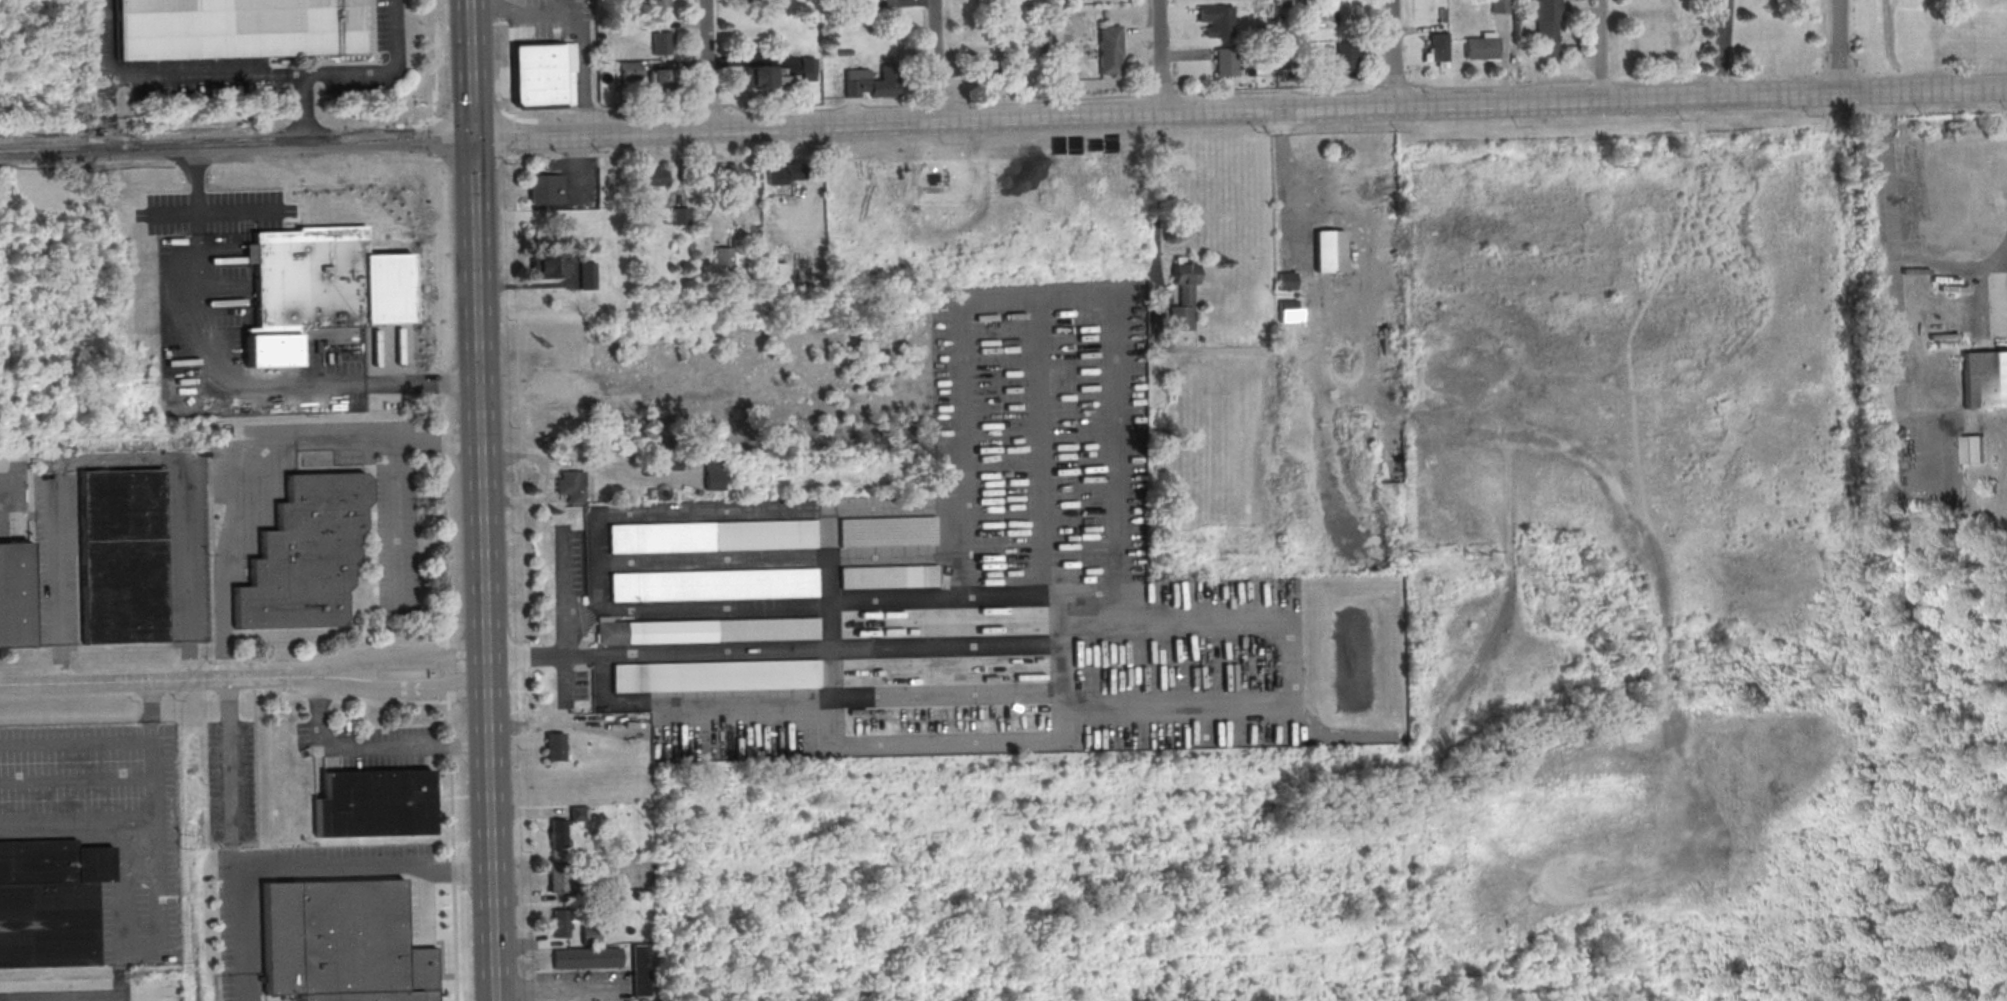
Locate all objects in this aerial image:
building: (1500, 6)
building: (657, 7)
building: (1323, 12)
road: (581, 14)
building: (1217, 20)
road: (480, 23)
building: (1546, 25)
building: (237, 28)
road: (103, 36)
building: (661, 42)
road: (1839, 46)
building: (1438, 47)
building: (1481, 48)
road: (1720, 48)
building: (1109, 49)
road: (1601, 50)
road: (1392, 54)
road: (1160, 58)
building: (1225, 61)
road: (934, 62)
building: (1334, 62)
road: (706, 66)
building: (990, 67)
building: (808, 68)
road: (432, 69)
road: (469, 69)
building: (630, 70)
road: (383, 71)
road: (203, 72)
building: (543, 74)
building: (760, 76)
building: (659, 79)
road: (1597, 80)
building: (871, 82)
road: (1395, 83)
road: (1500, 86)
road: (510, 90)
road: (1162, 91)
road: (1281, 91)
road: (937, 100)
road: (1050, 101)
road: (709, 106)
road: (303, 108)
road: (1357, 109)
road: (587, 110)
road: (822, 110)
road: (104, 111)
road: (647, 115)
road: (312, 121)
road: (589, 135)
traffic signals: (471, 138)
road: (235, 146)
building: (736, 174)
building: (787, 174)
building: (651, 177)
building: (545, 188)
road: (198, 190)
parking lot: (215, 209)
road: (215, 209)
building: (681, 215)
road: (1153, 228)
building: (1329, 250)
building: (724, 258)
building: (548, 265)
road: (1951, 266)
building: (775, 273)
building: (587, 275)
building: (1287, 281)
road: (528, 285)
building: (304, 289)
building: (1184, 293)
road: (1895, 295)
road: (994, 296)
building: (1289, 310)
road: (221, 374)
building: (1984, 378)
road: (421, 384)
road: (518, 388)
road: (477, 405)
road: (442, 422)
road: (442, 441)
road: (249, 448)
building: (1975, 449)
road: (520, 457)
road: (121, 461)
road: (593, 463)
building: (652, 468)
building: (713, 473)
road: (520, 479)
road: (10, 485)
building: (571, 485)
road: (521, 499)
road: (527, 500)
road: (396, 521)
building: (886, 531)
building: (711, 535)
road: (445, 548)
building: (304, 552)
building: (122, 556)
road: (523, 574)
building: (888, 575)
building: (713, 584)
building: (15, 595)
road: (559, 616)
building: (707, 629)
road: (889, 645)
road: (340, 653)
road: (526, 655)
road: (401, 657)
road: (213, 660)
road: (224, 660)
road: (250, 663)
road: (448, 672)
building: (715, 675)
road: (252, 676)
road: (159, 680)
road: (402, 687)
road: (526, 690)
road: (280, 695)
road: (320, 695)
road: (391, 702)
road: (1181, 709)
road: (449, 718)
road: (541, 726)
road: (450, 746)
building: (554, 746)
road: (373, 750)
road: (229, 756)
road: (256, 762)
building: (374, 804)
road: (451, 809)
building: (577, 812)
building: (557, 832)
road: (489, 836)
road: (125, 853)
road: (305, 870)
road: (453, 872)
building: (558, 880)
building: (50, 902)
building: (559, 923)
building: (589, 934)
road: (454, 942)
building: (342, 943)
building: (585, 957)
building: (640, 970)
road: (550, 987)

